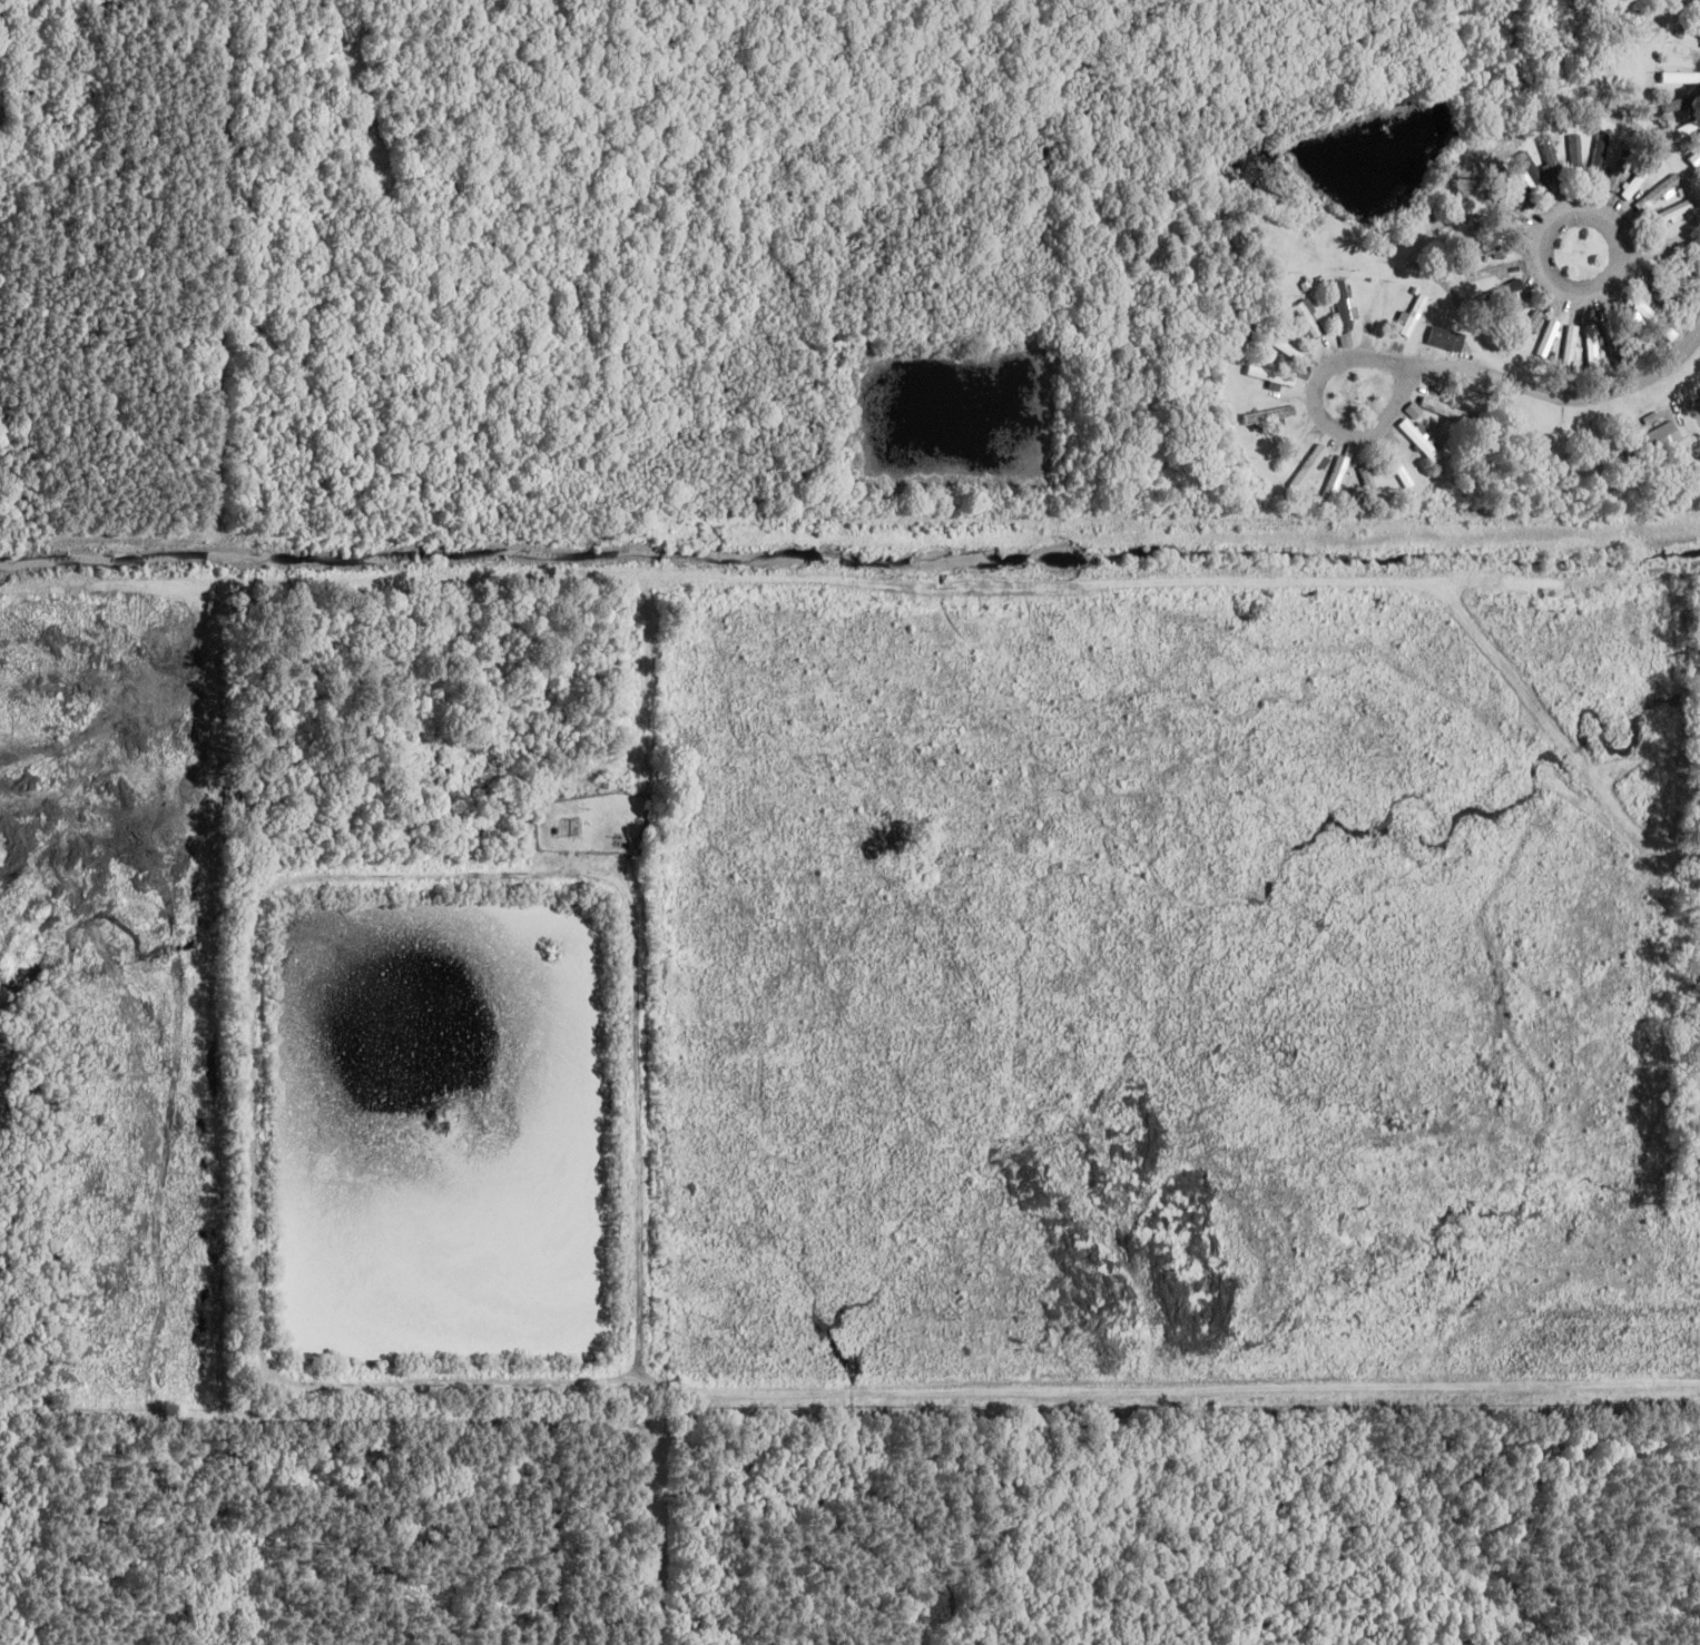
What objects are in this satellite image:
building: (1690, 24)
building: (1682, 51)
building: (1681, 77)
building: (1678, 105)
building: (1689, 129)
building: (1575, 157)
building: (1696, 157)
building: (1601, 158)
building: (1620, 167)
building: (1554, 169)
building: (1534, 174)
building: (1639, 179)
building: (1520, 191)
building: (1660, 193)
building: (1503, 203)
building: (1674, 211)
building: (1474, 221)
building: (1488, 248)
building: (1492, 272)
road: (1667, 279)
road: (1565, 289)
building: (1504, 293)
building: (1664, 296)
building: (1382, 304)
building: (1346, 307)
building: (1515, 311)
building: (1415, 315)
building: (1651, 315)
building: (1623, 318)
building: (1309, 319)
building: (1549, 337)
building: (1447, 338)
building: (1347, 341)
building: (1287, 347)
building: (1571, 348)
building: (1593, 349)
road: (1568, 403)
building: (1444, 408)
building: (1270, 415)
road: (1333, 421)
building: (1421, 439)
building: (1662, 439)
building: (1310, 467)
building: (1402, 471)
building: (1368, 479)
building: (1335, 480)

